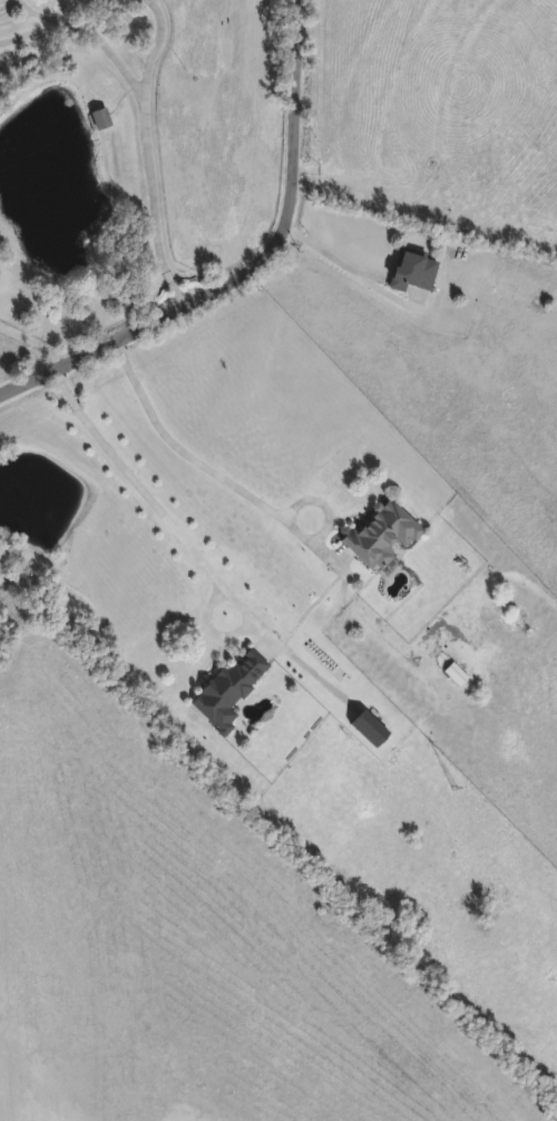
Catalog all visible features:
road: (32, 29)
road: (95, 47)
road: (149, 47)
building: (101, 120)
road: (145, 204)
road: (332, 257)
road: (251, 267)
building: (414, 273)
road: (31, 348)
road: (183, 459)
building: (383, 536)
road: (174, 539)
building: (231, 691)
building: (370, 731)

